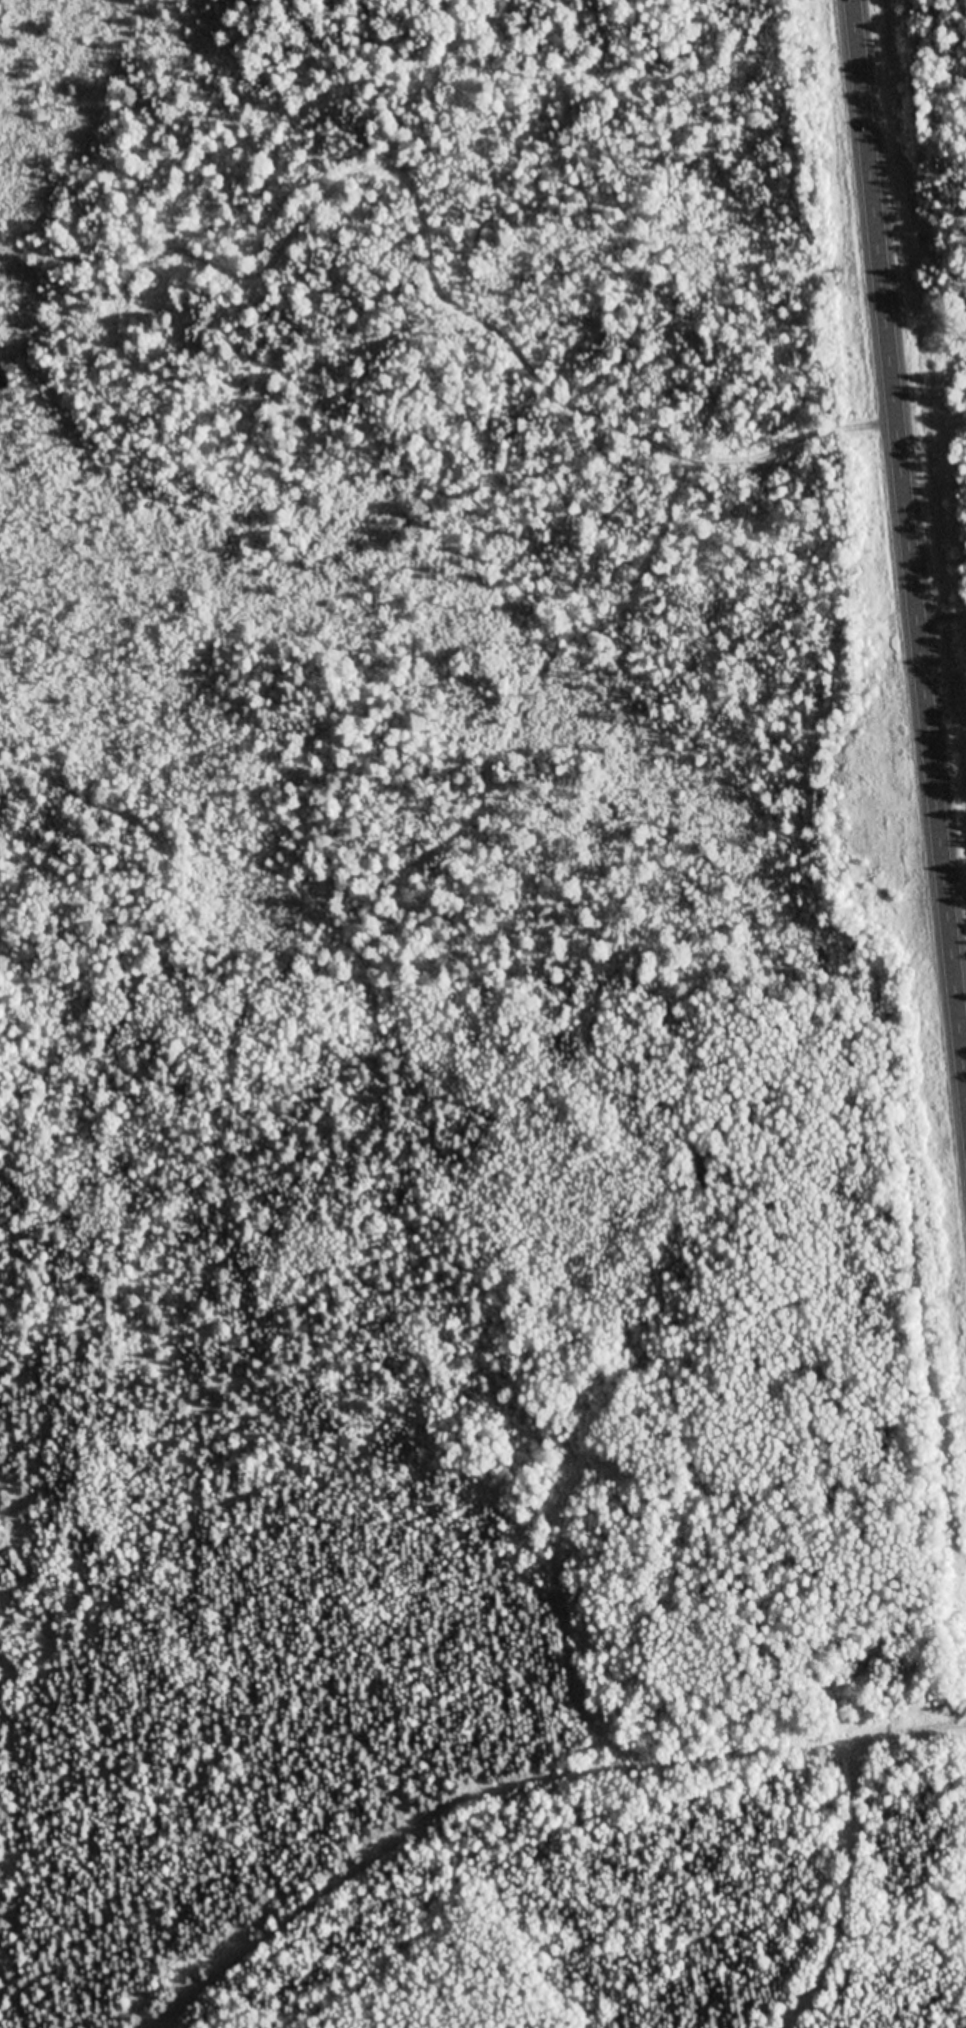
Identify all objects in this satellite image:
road: (386, 193)
road: (790, 392)
road: (909, 540)
road: (438, 770)

